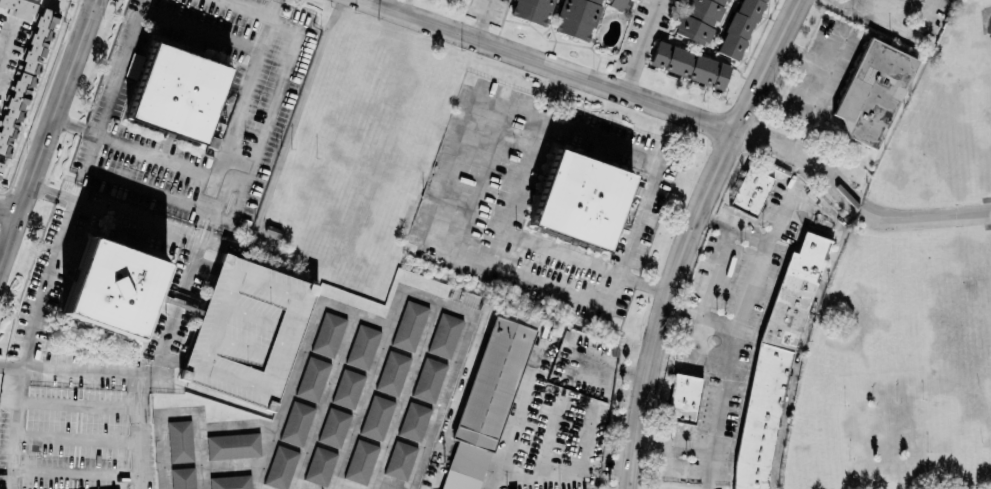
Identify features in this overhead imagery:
building: (619, 3)
road: (404, 5)
building: (18, 7)
road: (274, 8)
building: (533, 10)
road: (920, 12)
building: (577, 18)
road: (482, 19)
building: (699, 19)
building: (740, 28)
road: (202, 29)
road: (6, 43)
road: (641, 45)
building: (688, 64)
building: (134, 65)
building: (24, 77)
building: (177, 91)
building: (873, 91)
road: (552, 92)
road: (688, 114)
road: (48, 134)
road: (459, 149)
road: (149, 152)
building: (1, 166)
road: (245, 182)
building: (750, 191)
building: (579, 199)
road: (8, 214)
road: (174, 231)
road: (689, 235)
road: (720, 267)
building: (112, 287)
road: (753, 306)
building: (410, 325)
building: (328, 333)
building: (445, 334)
road: (28, 339)
building: (363, 345)
building: (393, 372)
road: (148, 375)
building: (313, 378)
building: (429, 378)
building: (348, 387)
road: (445, 389)
building: (489, 397)
building: (683, 398)
road: (8, 401)
road: (78, 406)
building: (377, 416)
building: (414, 420)
building: (297, 422)
building: (334, 426)
road: (141, 432)
road: (77, 438)
building: (180, 440)
building: (233, 445)
road: (505, 448)
building: (400, 459)
building: (361, 461)
building: (320, 465)
building: (281, 466)
road: (76, 473)
building: (183, 477)
building: (230, 481)

